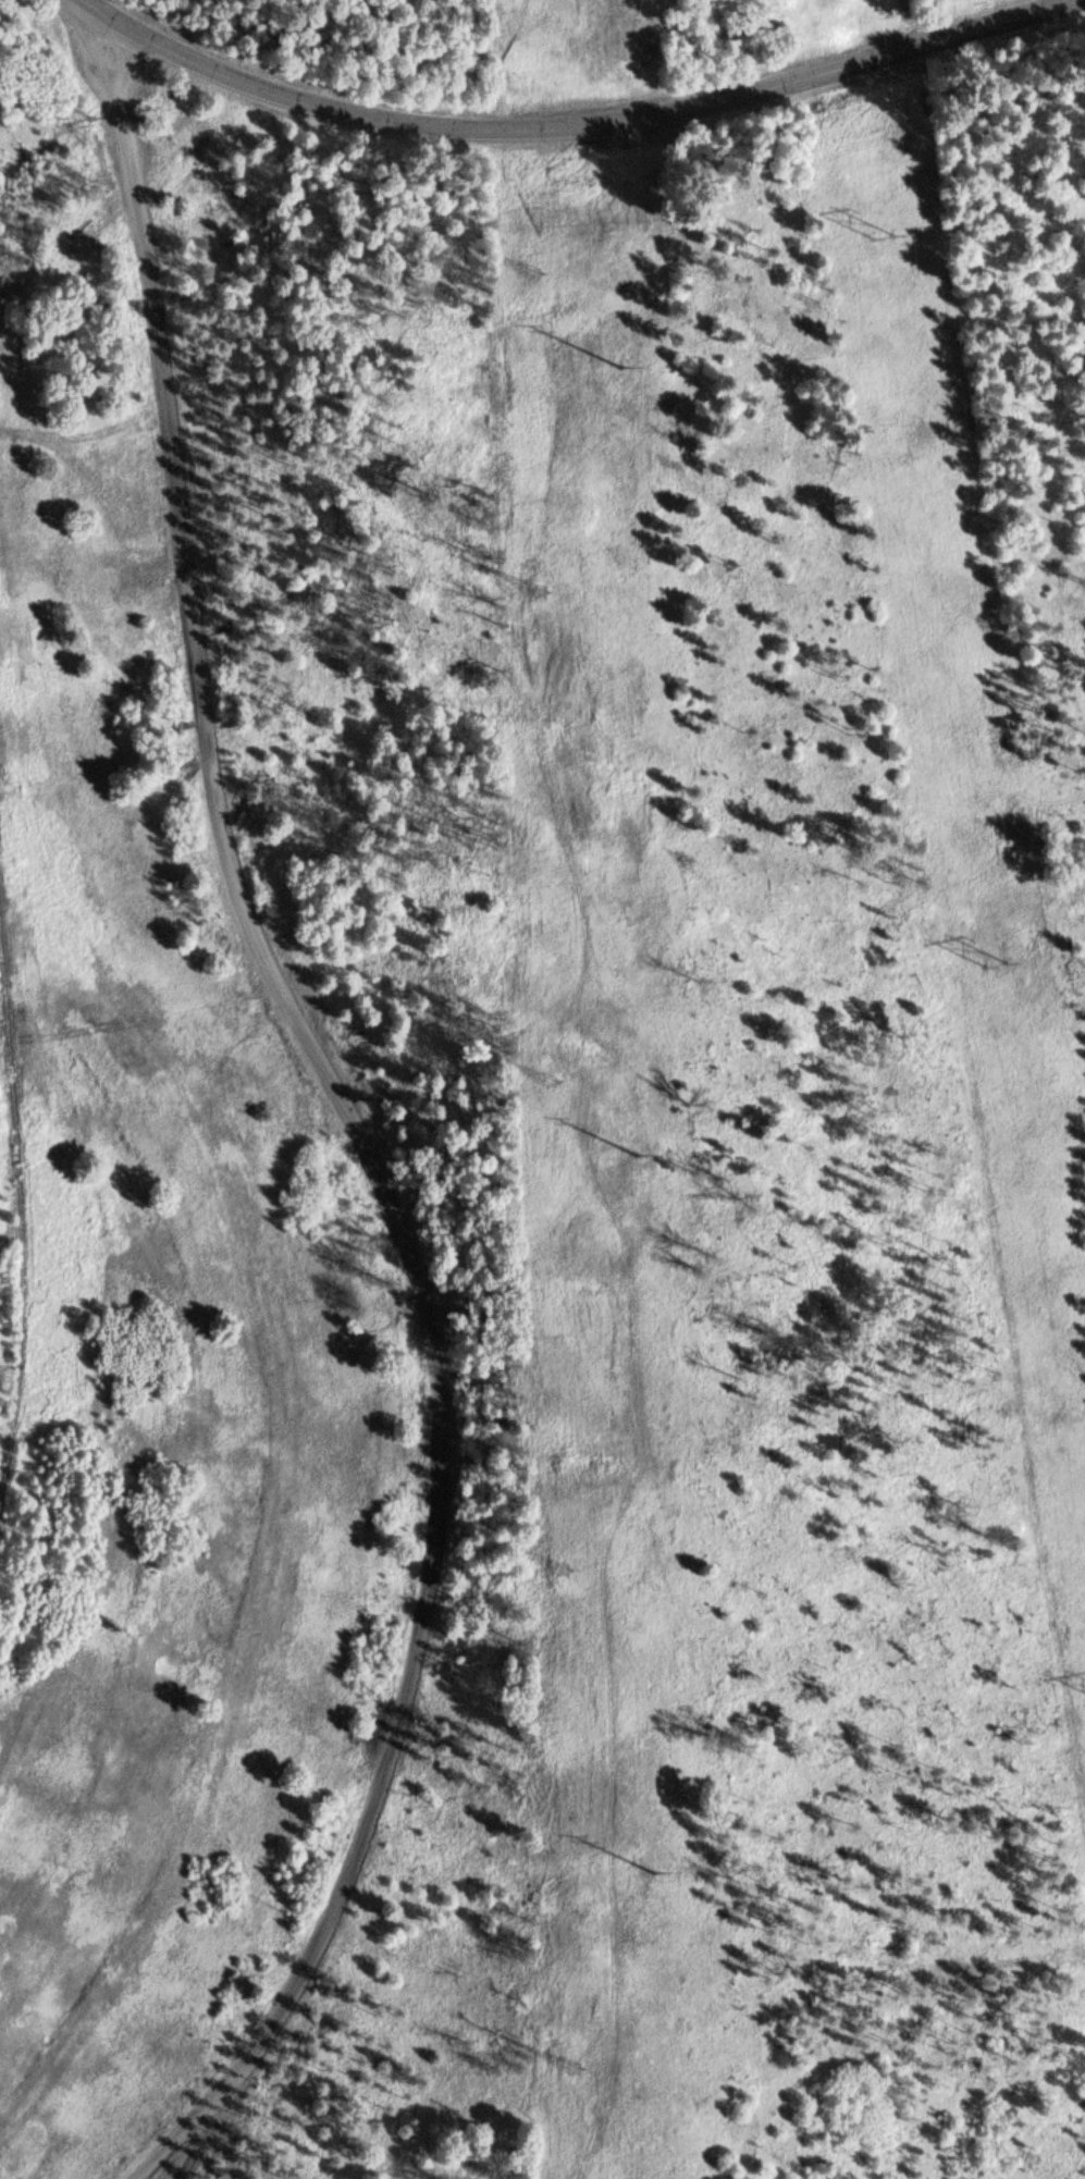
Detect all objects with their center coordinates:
road: (82, 42)
road: (580, 126)
power tower: (885, 238)
power tower: (539, 273)
power tower: (648, 366)
power tower: (544, 590)
power tower: (994, 967)
power tower: (555, 1082)
road: (361, 1134)
power tower: (664, 1155)
railway: (17, 1228)
power tower: (569, 1567)
power tower: (679, 1875)
power tower: (571, 2069)

